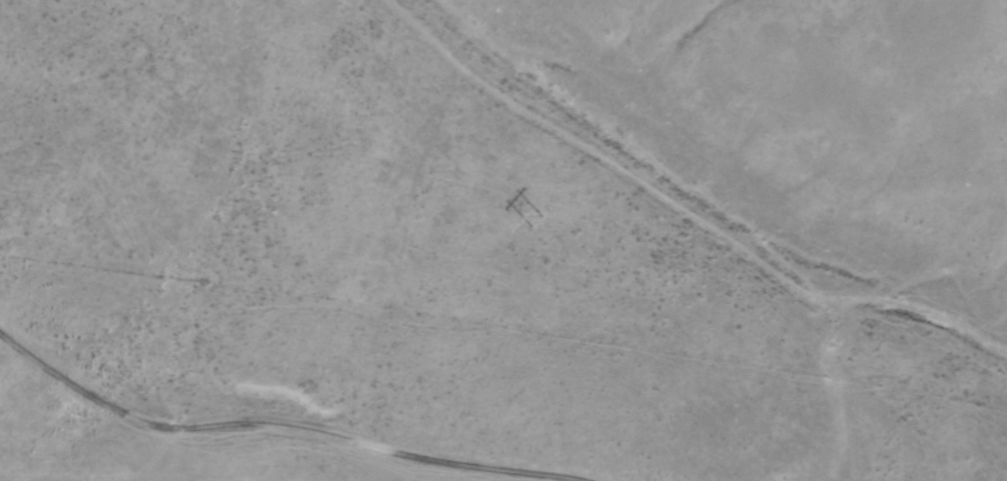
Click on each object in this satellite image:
road: (658, 208)
power tower: (537, 221)

